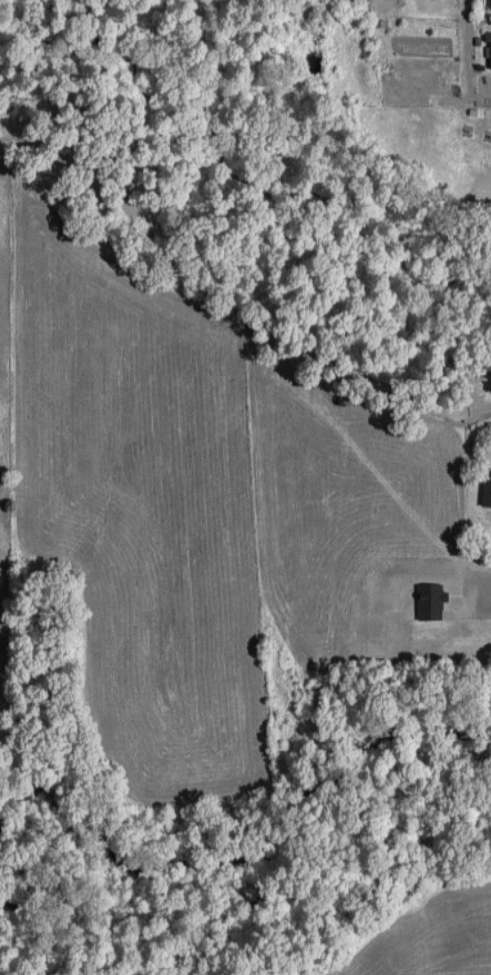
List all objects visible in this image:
building: (489, 5)
building: (489, 55)
building: (484, 491)

